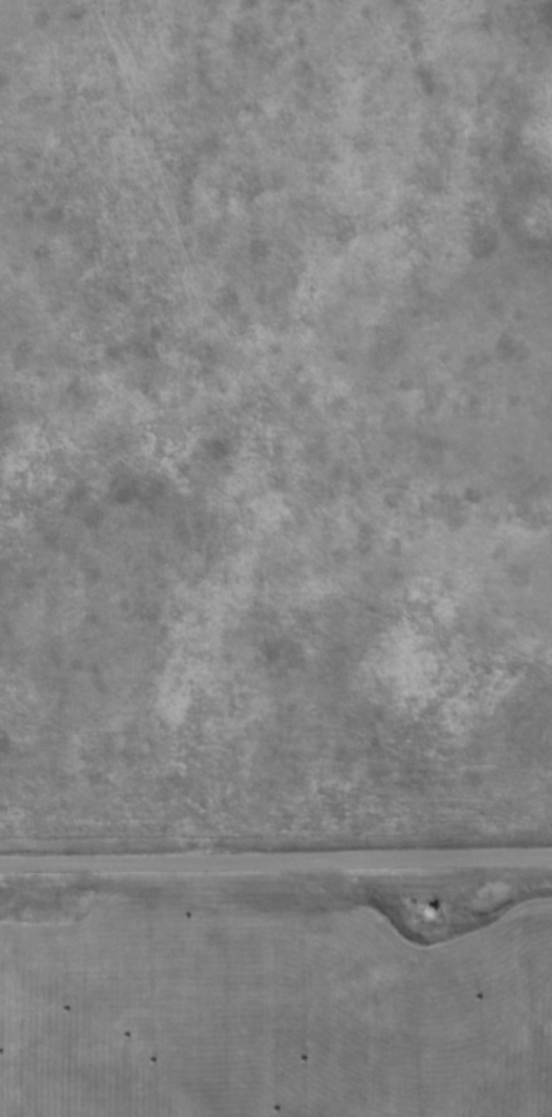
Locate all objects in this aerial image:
road: (276, 863)

